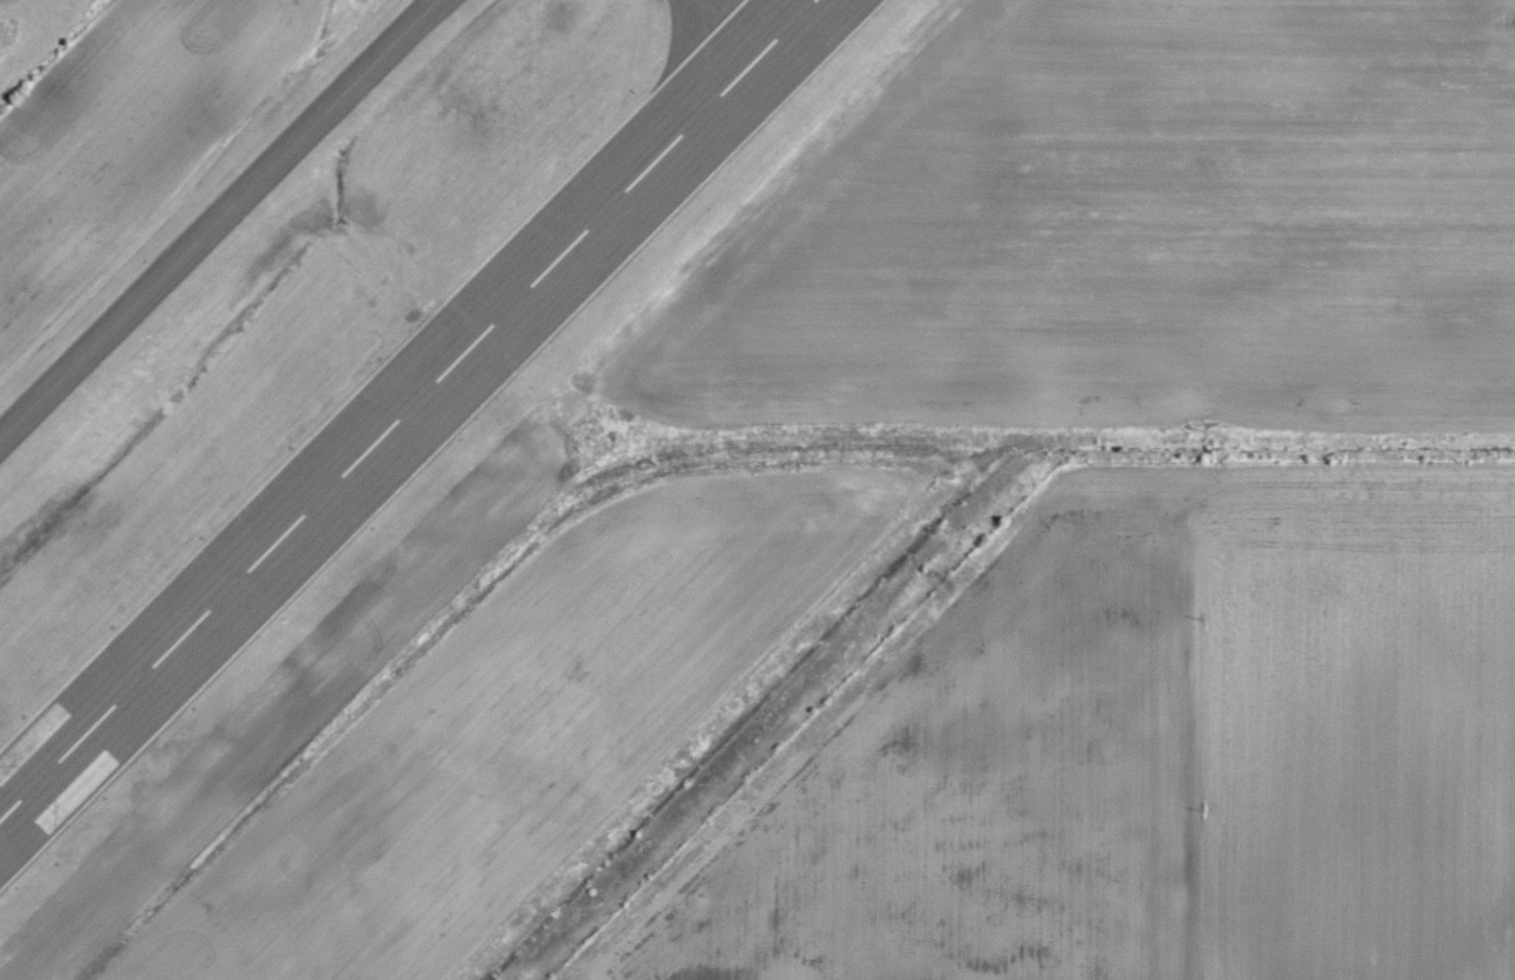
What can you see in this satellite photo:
airport taxiway: (737, 27)
airport taxiway: (221, 226)
airport: (634, 406)
airport runway: (408, 411)

